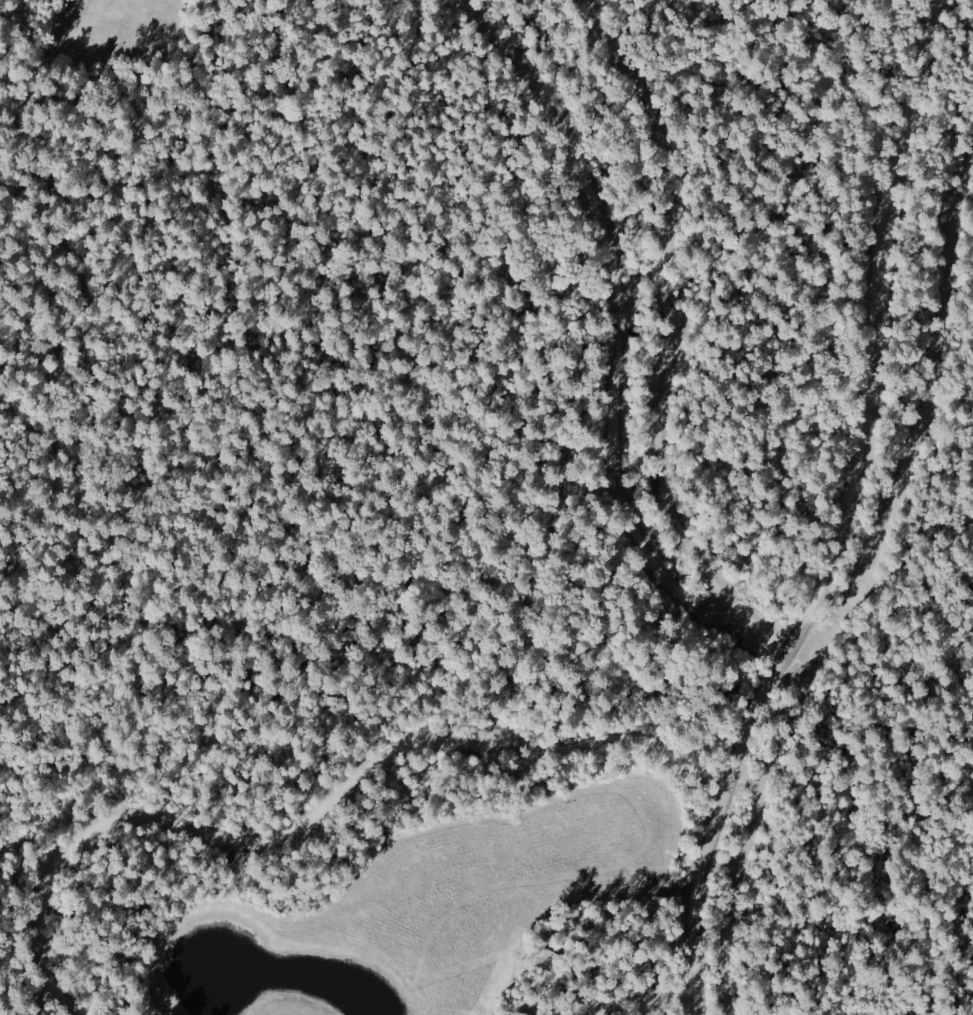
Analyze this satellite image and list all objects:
road: (90, 139)
road: (672, 319)
road: (622, 324)
road: (401, 366)
road: (846, 516)
road: (769, 645)
road: (633, 738)
road: (488, 749)
road: (194, 829)
building: (521, 1013)

